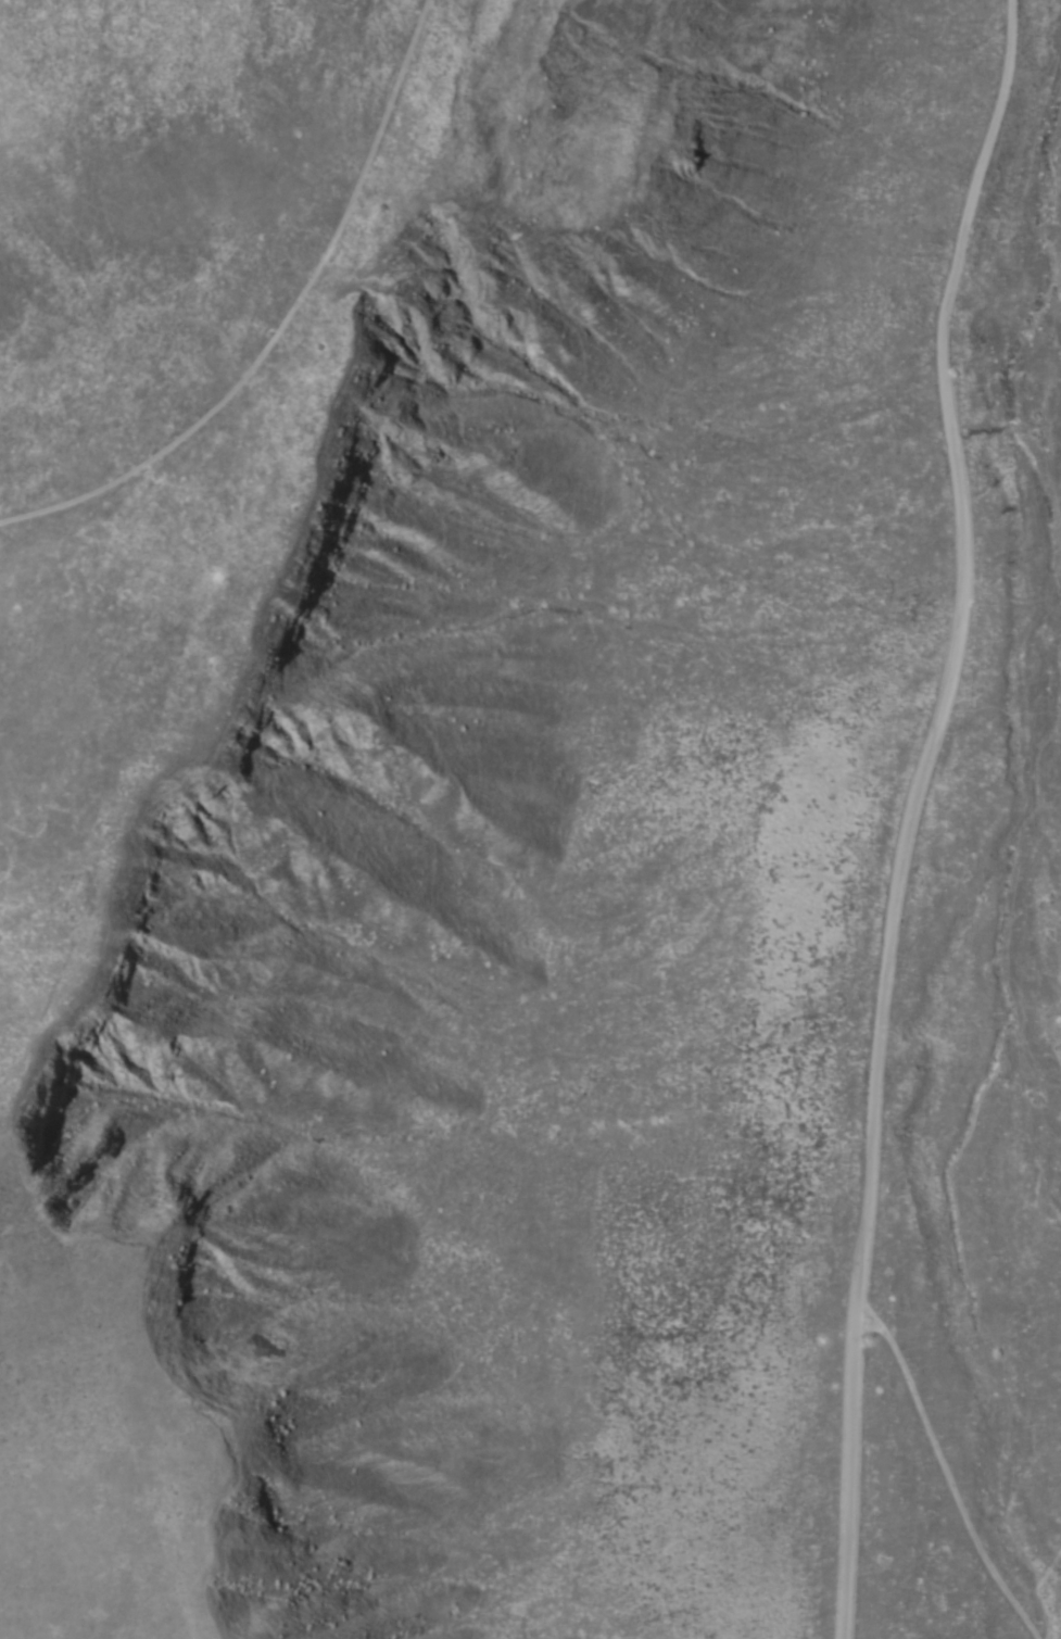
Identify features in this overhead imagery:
road: (911, 814)

